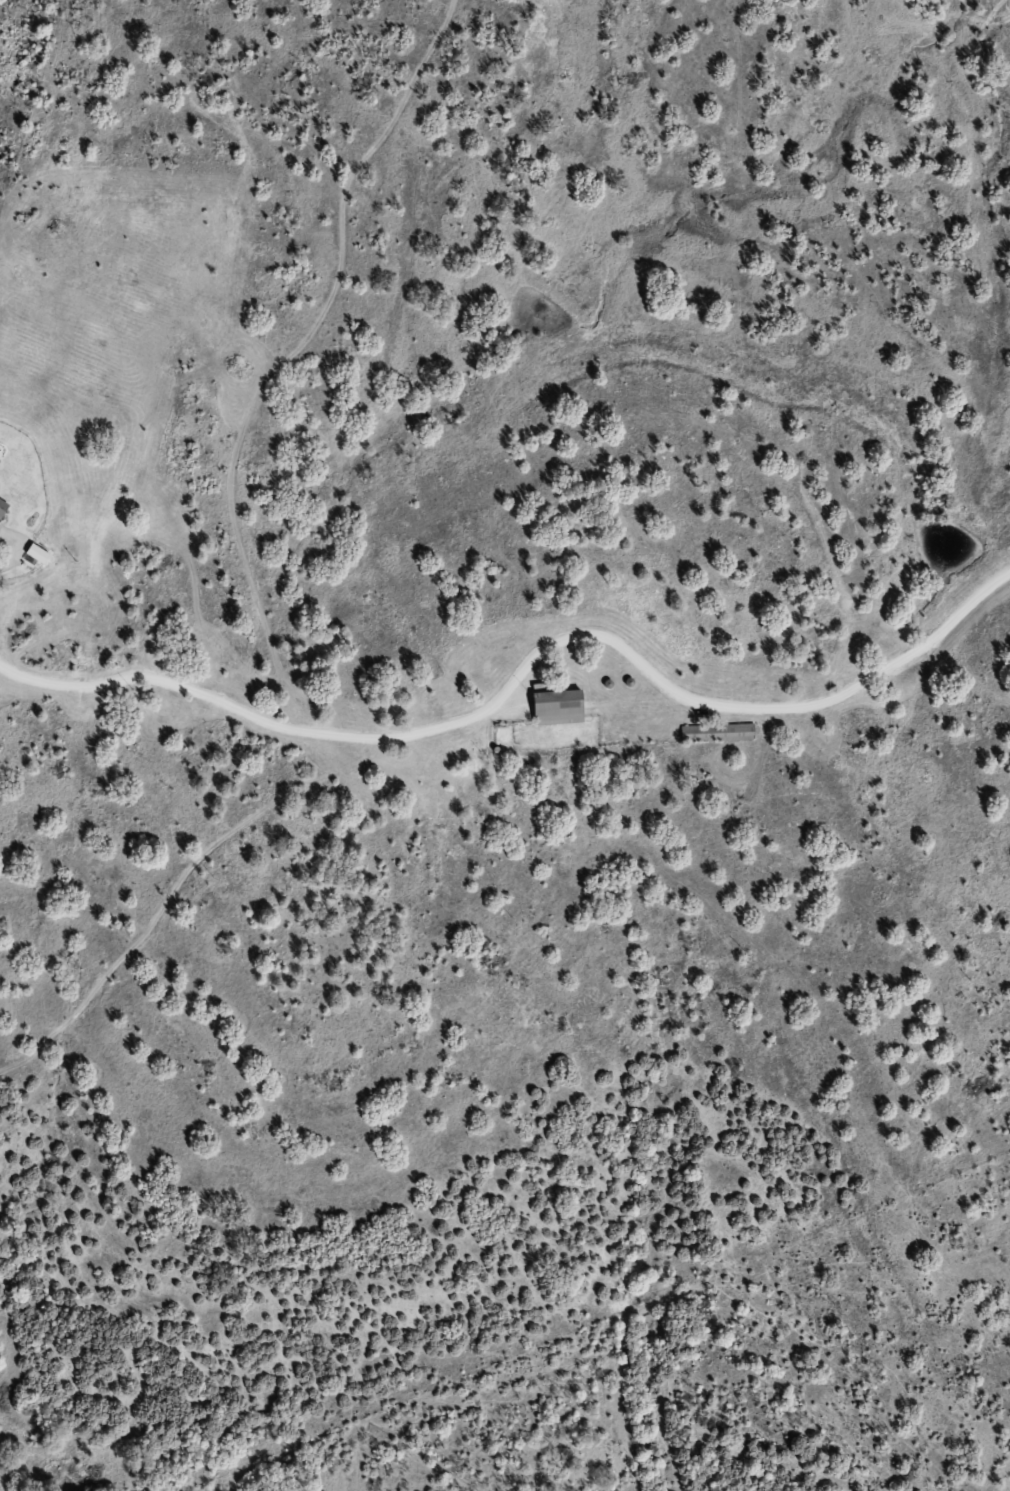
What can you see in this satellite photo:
building: (562, 706)

